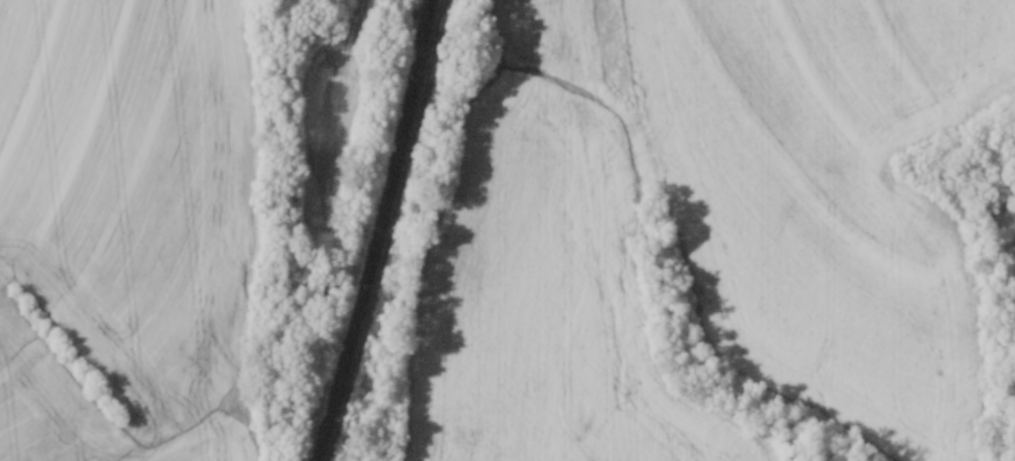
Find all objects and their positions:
railway: (382, 232)

